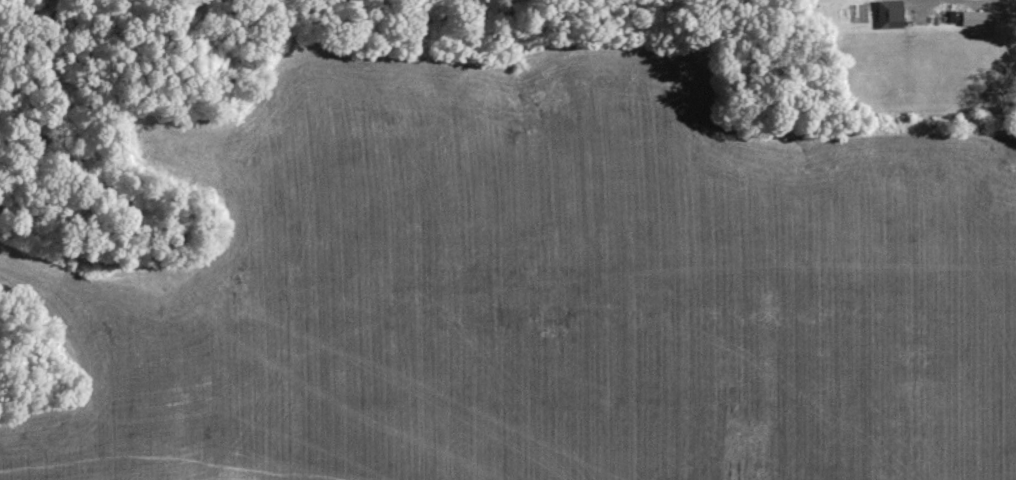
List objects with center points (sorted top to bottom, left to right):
building: (887, 15)
building: (973, 21)

